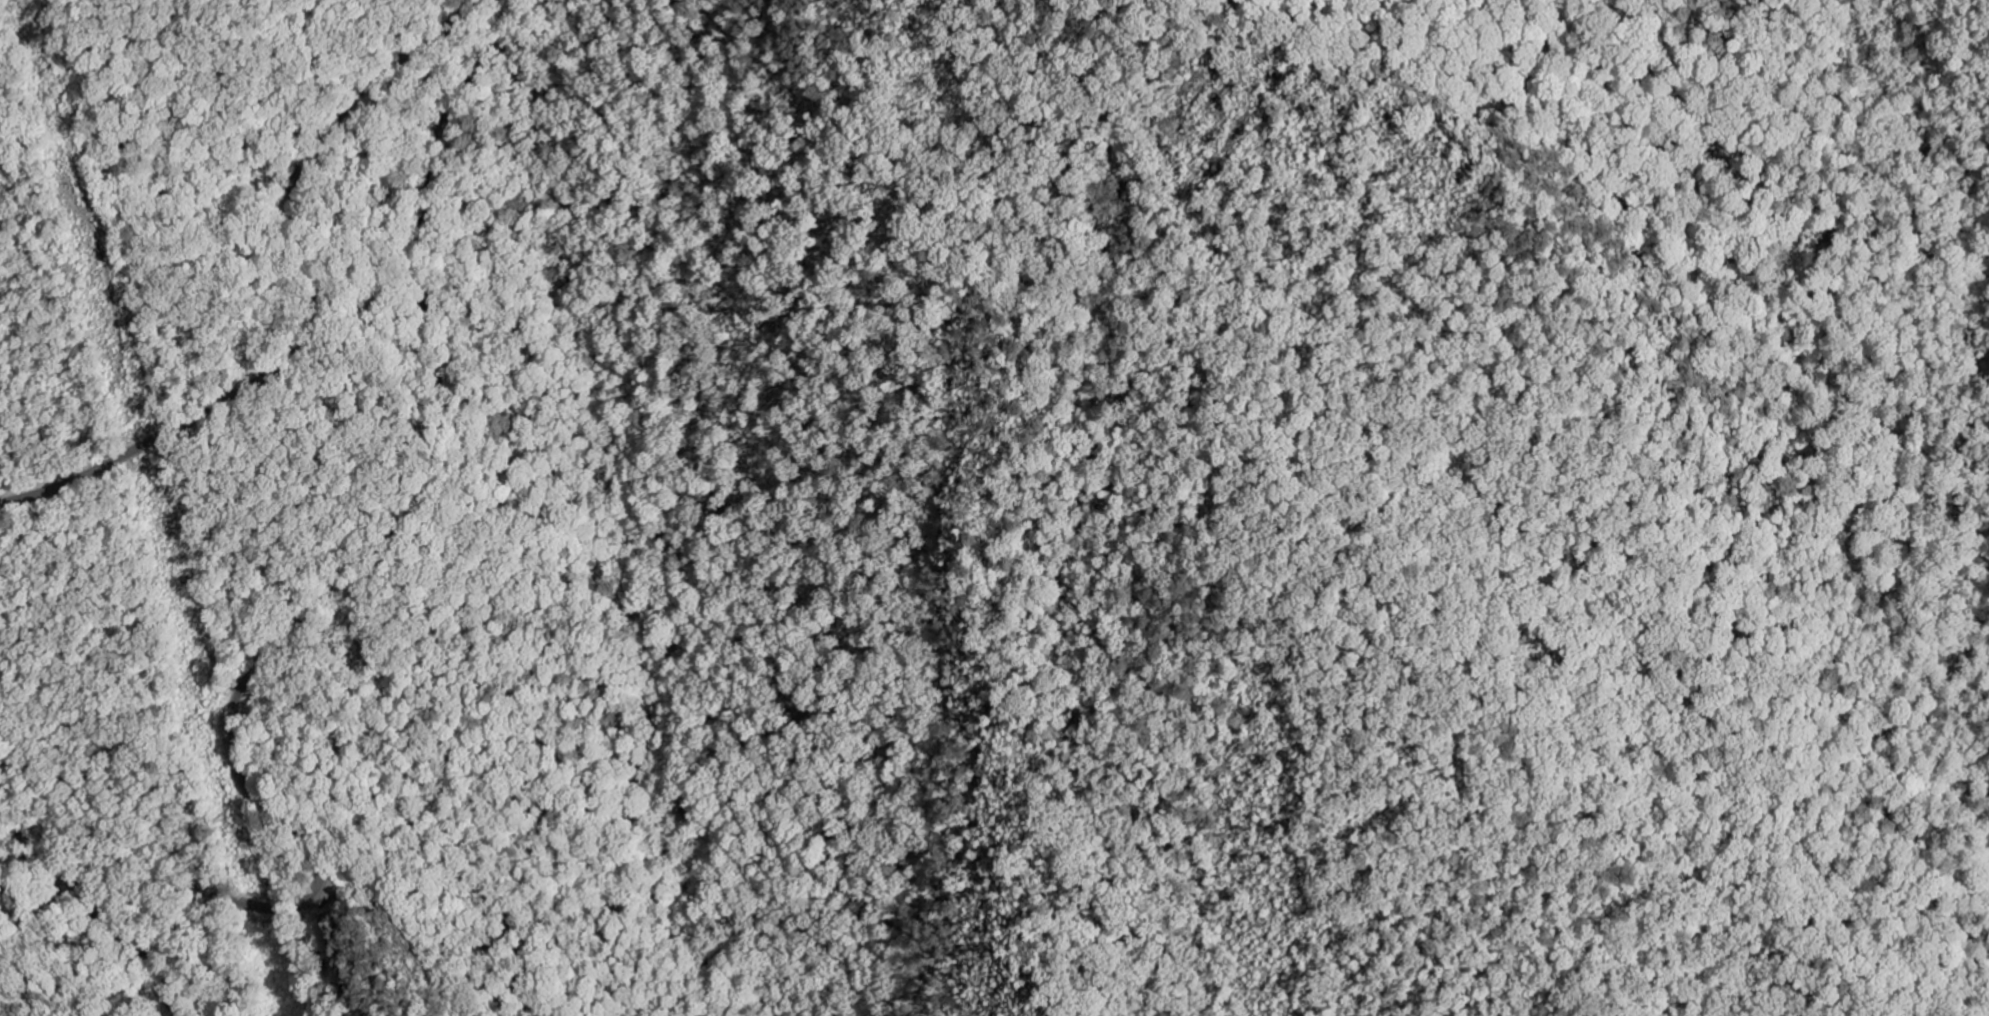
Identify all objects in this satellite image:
road: (323, 308)
road: (285, 639)

